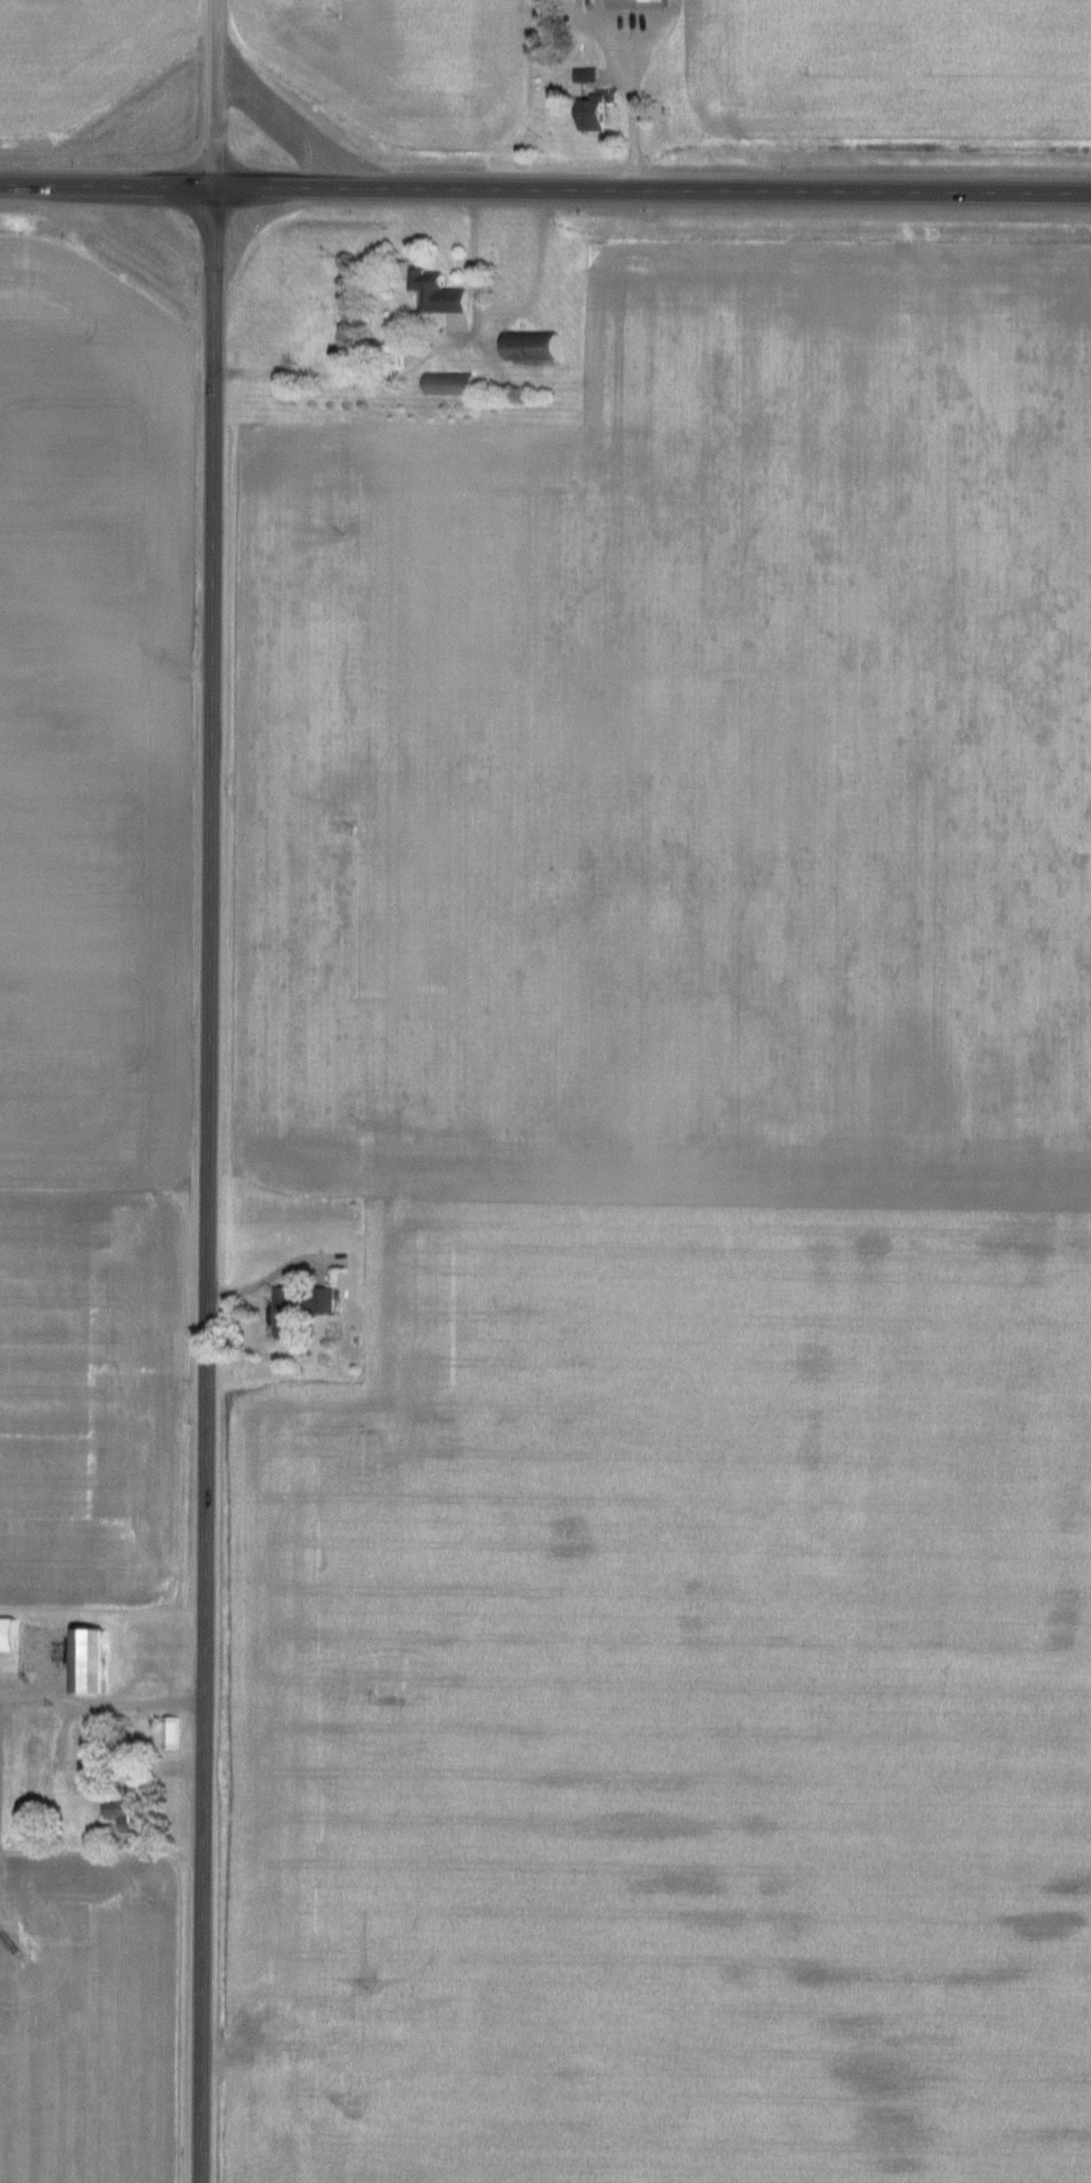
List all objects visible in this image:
building: (635, 3)
road: (595, 34)
road: (658, 36)
road: (209, 95)
building: (591, 113)
road: (632, 129)
road: (545, 192)
building: (436, 291)
building: (530, 345)
building: (394, 354)
road: (413, 366)
building: (448, 382)
road: (204, 1186)
road: (265, 1275)
building: (297, 1306)
building: (4, 1631)
building: (87, 1656)
building: (5, 1677)
road: (99, 1700)
building: (170, 1730)
building: (34, 1744)
building: (91, 1768)
building: (23, 1777)
building: (57, 1779)
building: (127, 1811)

